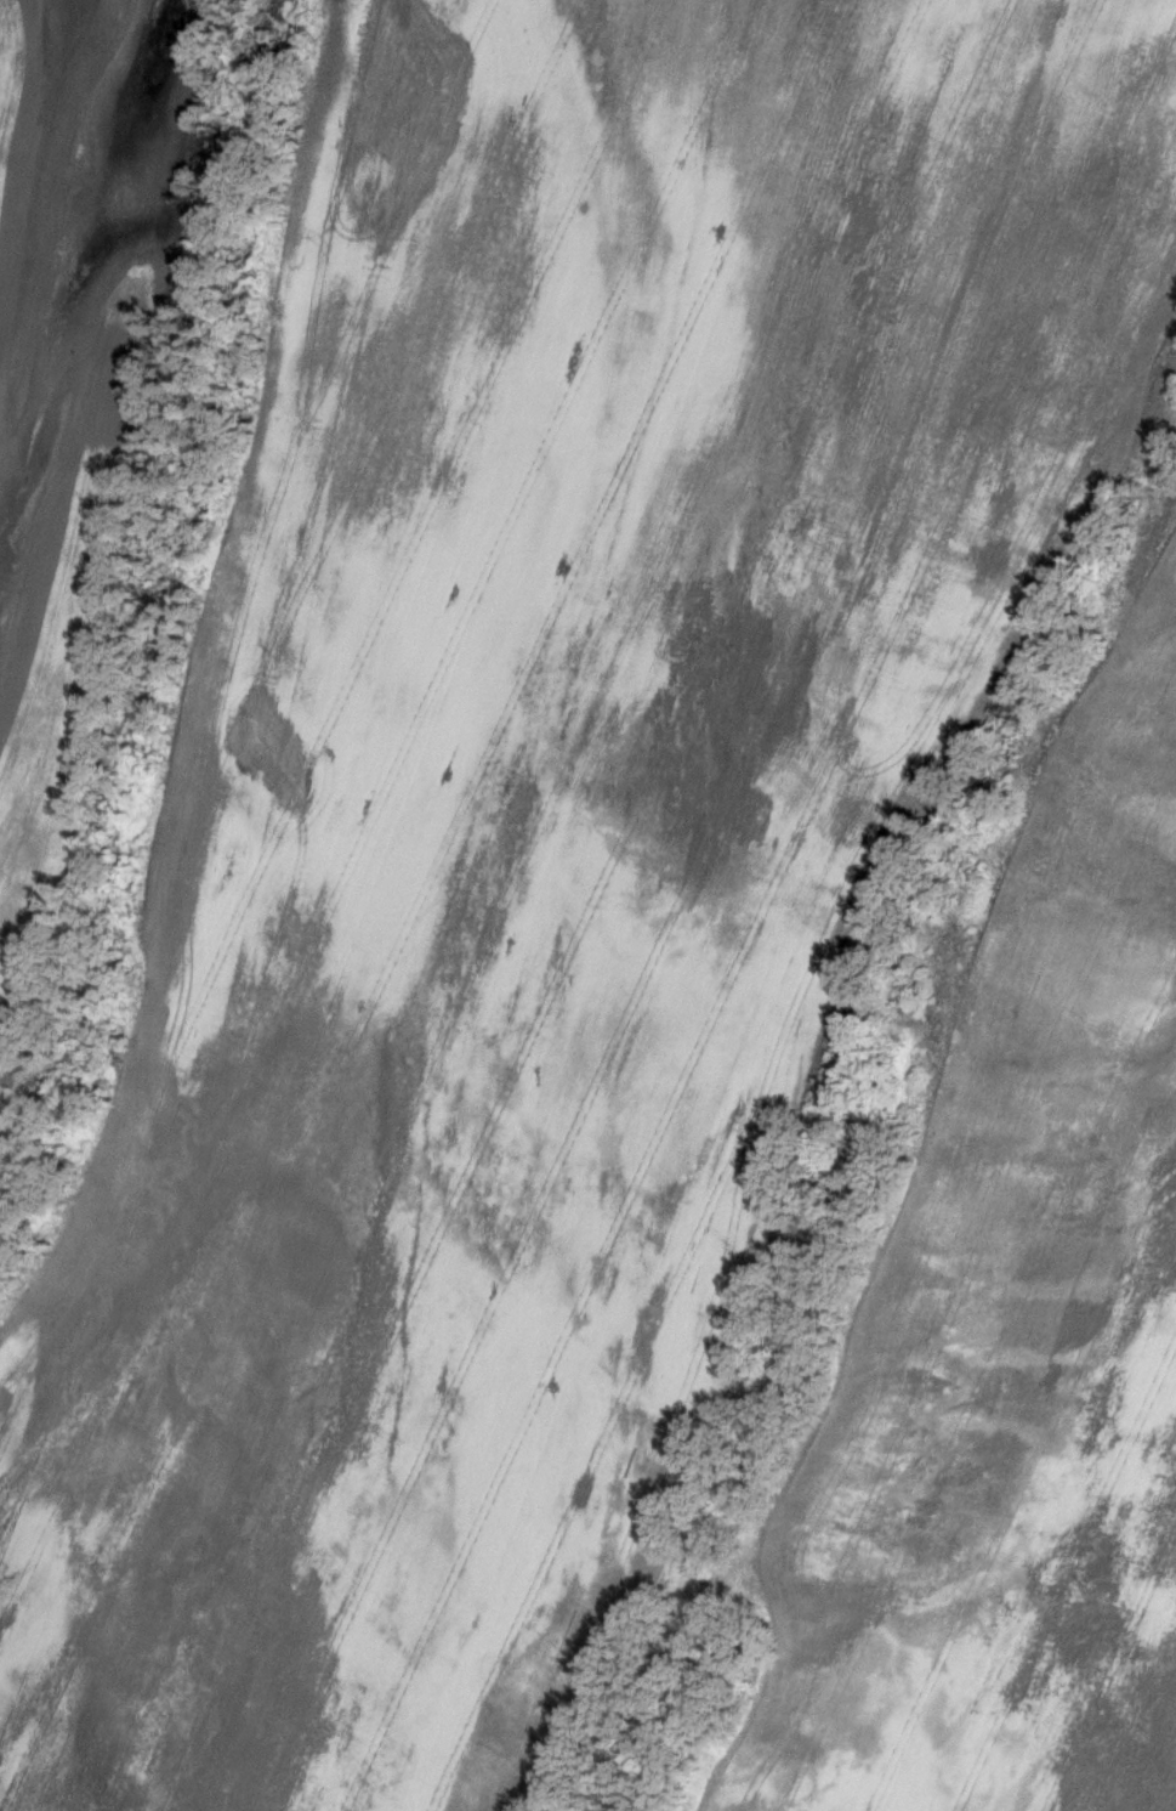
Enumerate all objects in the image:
crop: (76, 409)
crop: (545, 839)
crop: (1006, 1340)

